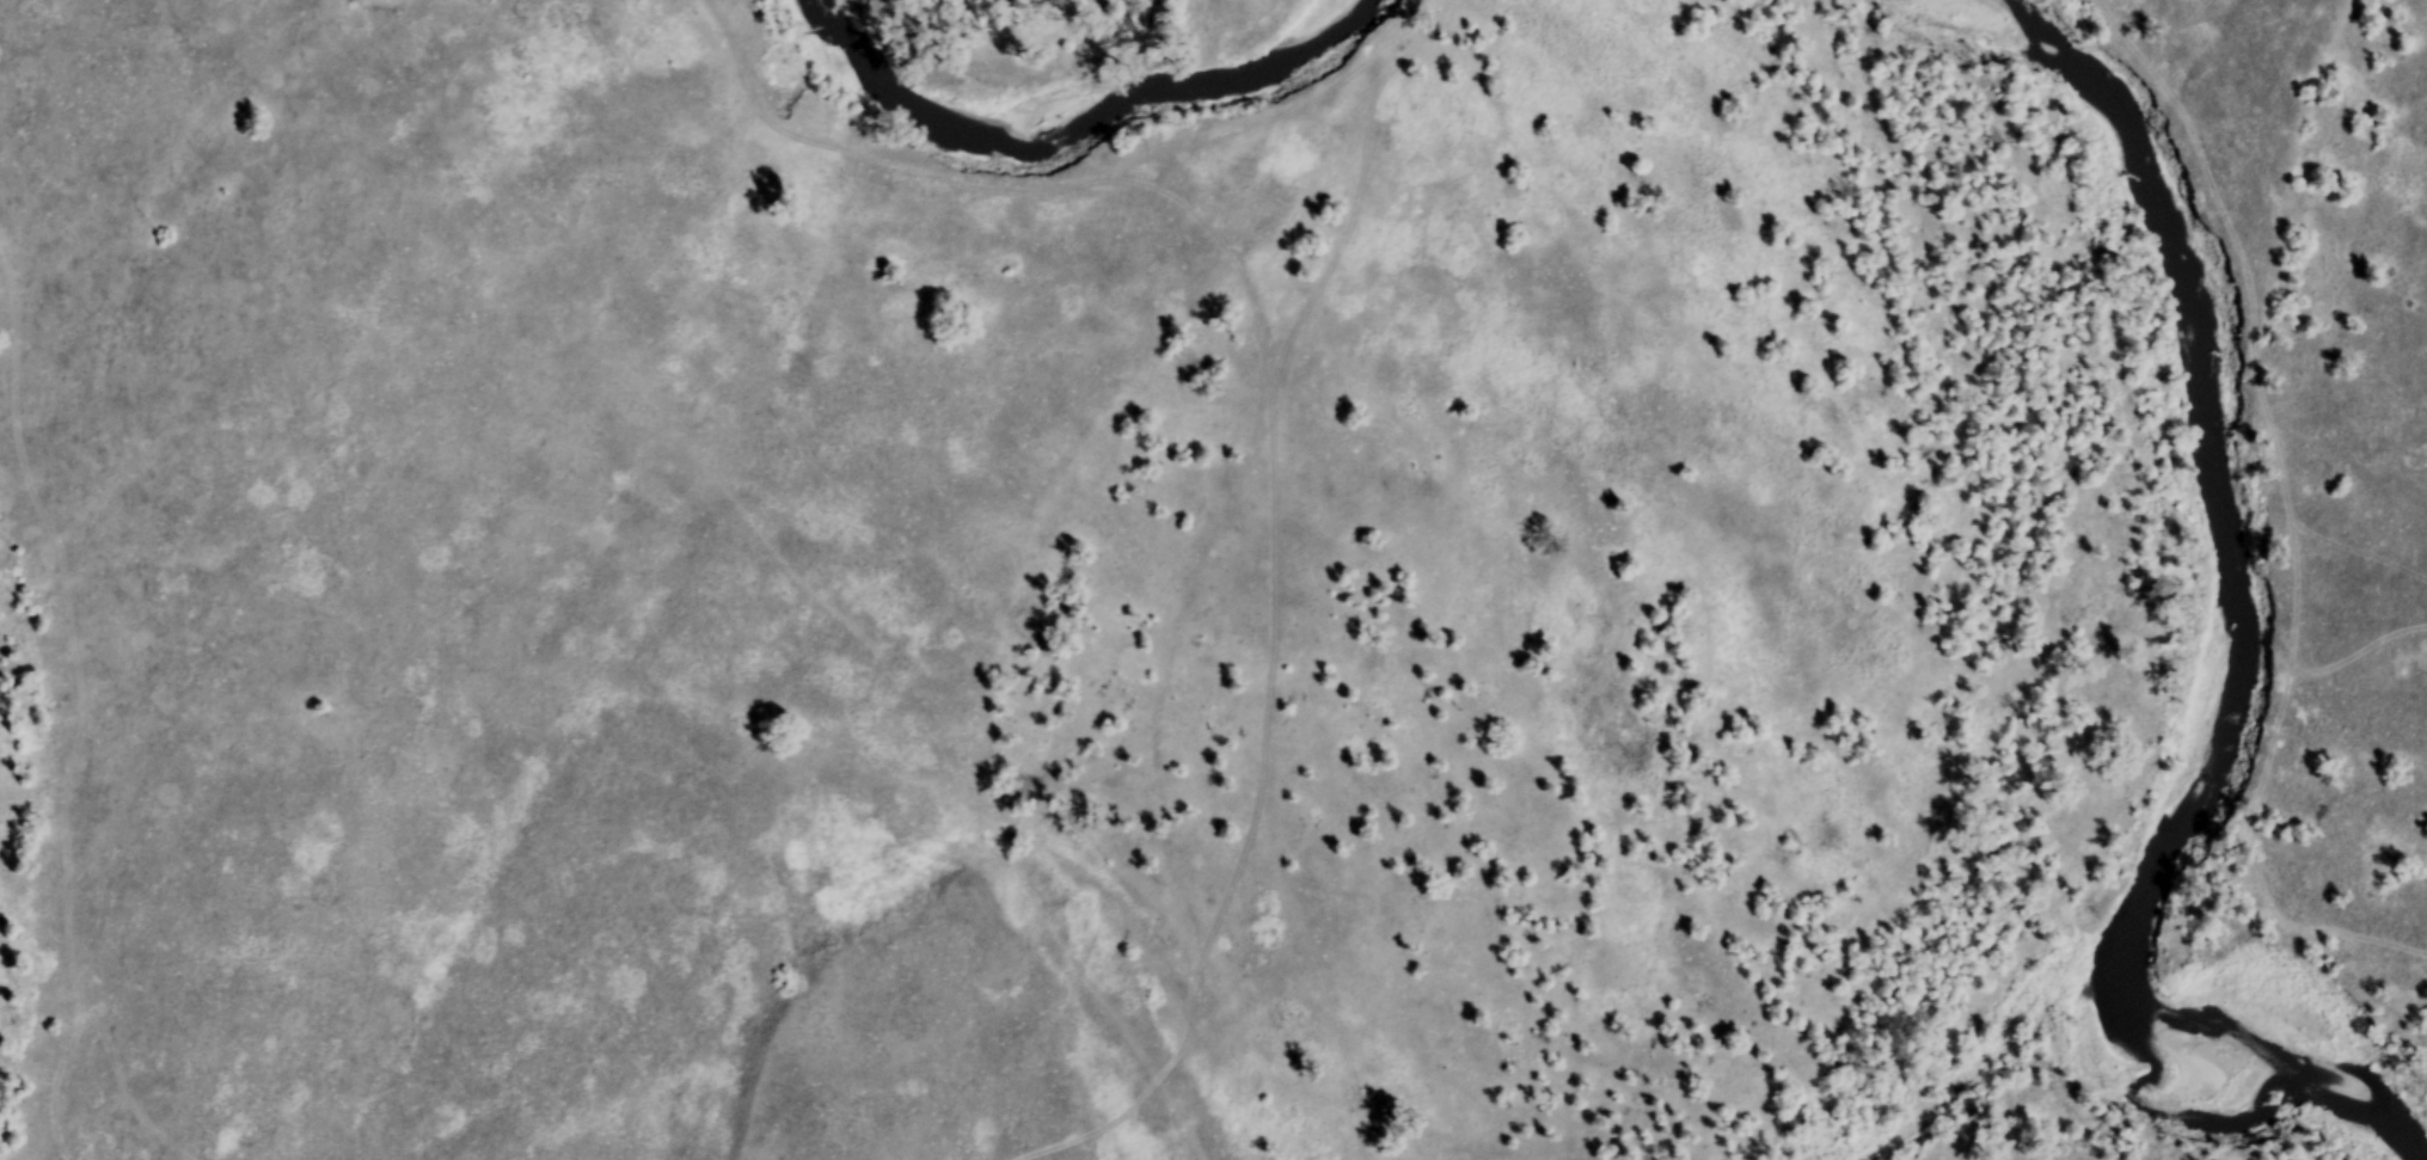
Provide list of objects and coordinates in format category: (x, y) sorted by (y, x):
river: (1050, 103)
river: (2200, 712)
river: (1991, 1044)

